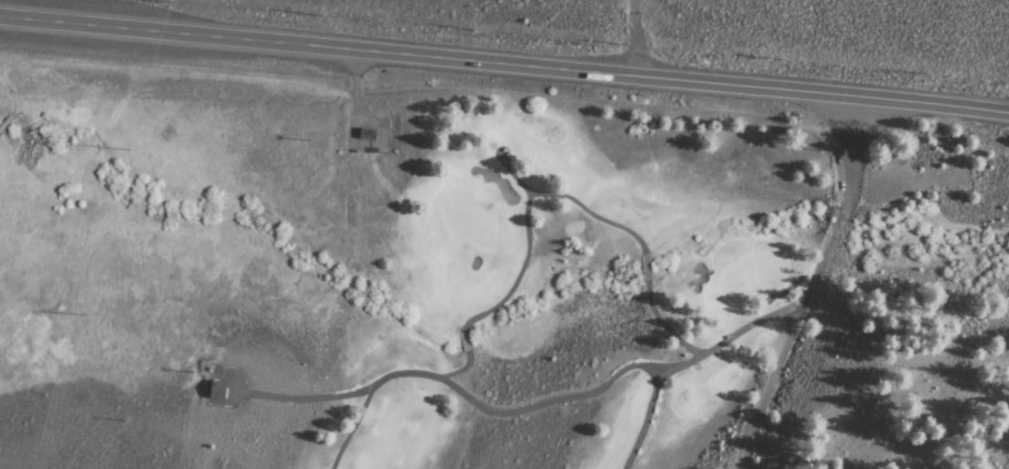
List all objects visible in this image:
power tower: (162, 0)
road: (631, 38)
road: (504, 63)
road: (8, 99)
road: (2, 121)
road: (845, 196)
park: (567, 279)
road: (691, 360)
road: (764, 376)

